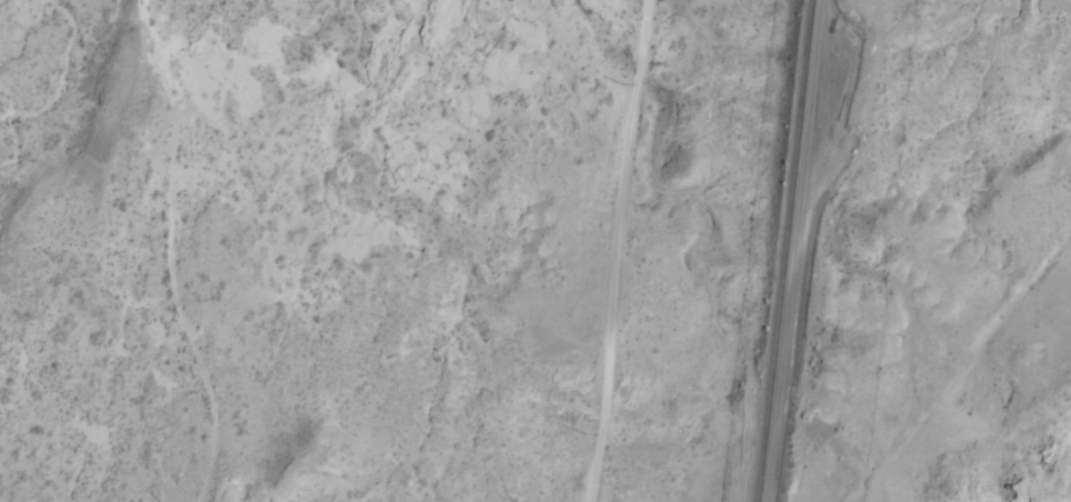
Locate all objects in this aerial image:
road: (638, 251)
railway: (787, 251)

